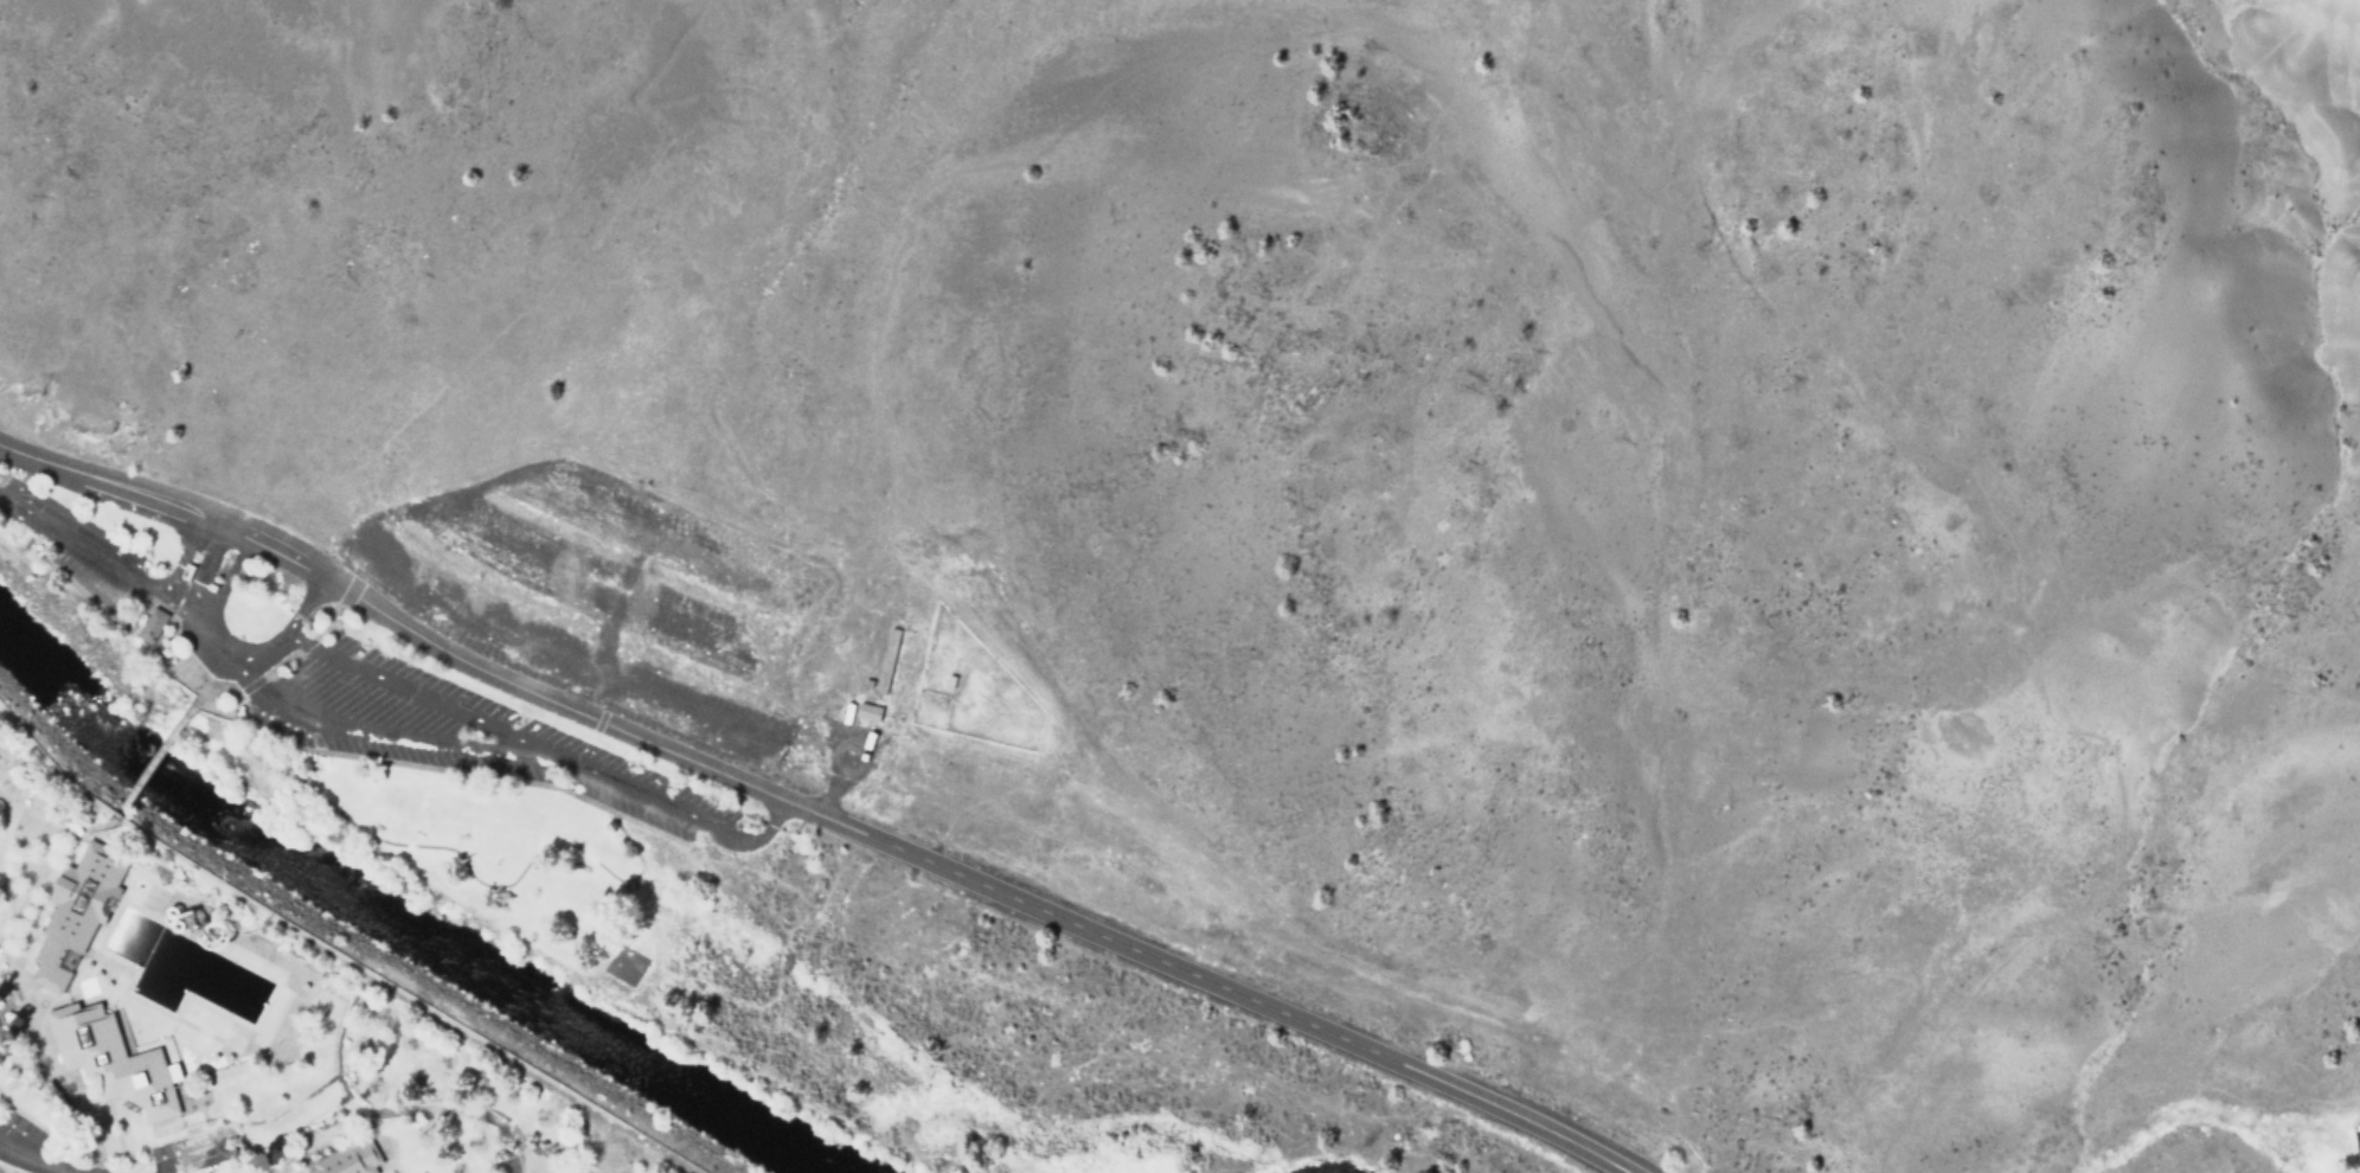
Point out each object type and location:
road: (1321, 20)
road: (1065, 128)
road: (819, 135)
road: (603, 226)
road: (584, 504)
road: (528, 555)
road: (339, 560)
road: (117, 563)
road: (725, 563)
building: (186, 572)
parking lot: (604, 596)
road: (617, 597)
building: (150, 626)
road: (688, 626)
road: (286, 630)
road: (198, 632)
road: (566, 653)
building: (886, 661)
road: (403, 688)
road: (220, 712)
building: (867, 713)
parking lot: (455, 733)
road: (474, 746)
road: (835, 754)
road: (158, 757)
road: (469, 771)
road: (809, 810)
road: (755, 833)
park: (468, 846)
road: (428, 847)
road: (33, 879)
building: (75, 914)
river: (390, 924)
road: (299, 932)
water park: (191, 983)
road: (40, 1060)
building: (111, 1062)
road: (323, 1082)
road: (402, 1111)
road: (364, 1121)
road: (197, 1126)
building: (2359, 1133)
road: (547, 1148)
parking lot: (187, 1152)
building: (346, 1159)
road: (192, 1160)
road: (31, 1161)
parking lot: (530, 1165)
road: (528, 1166)
parking lot: (620, 1172)

